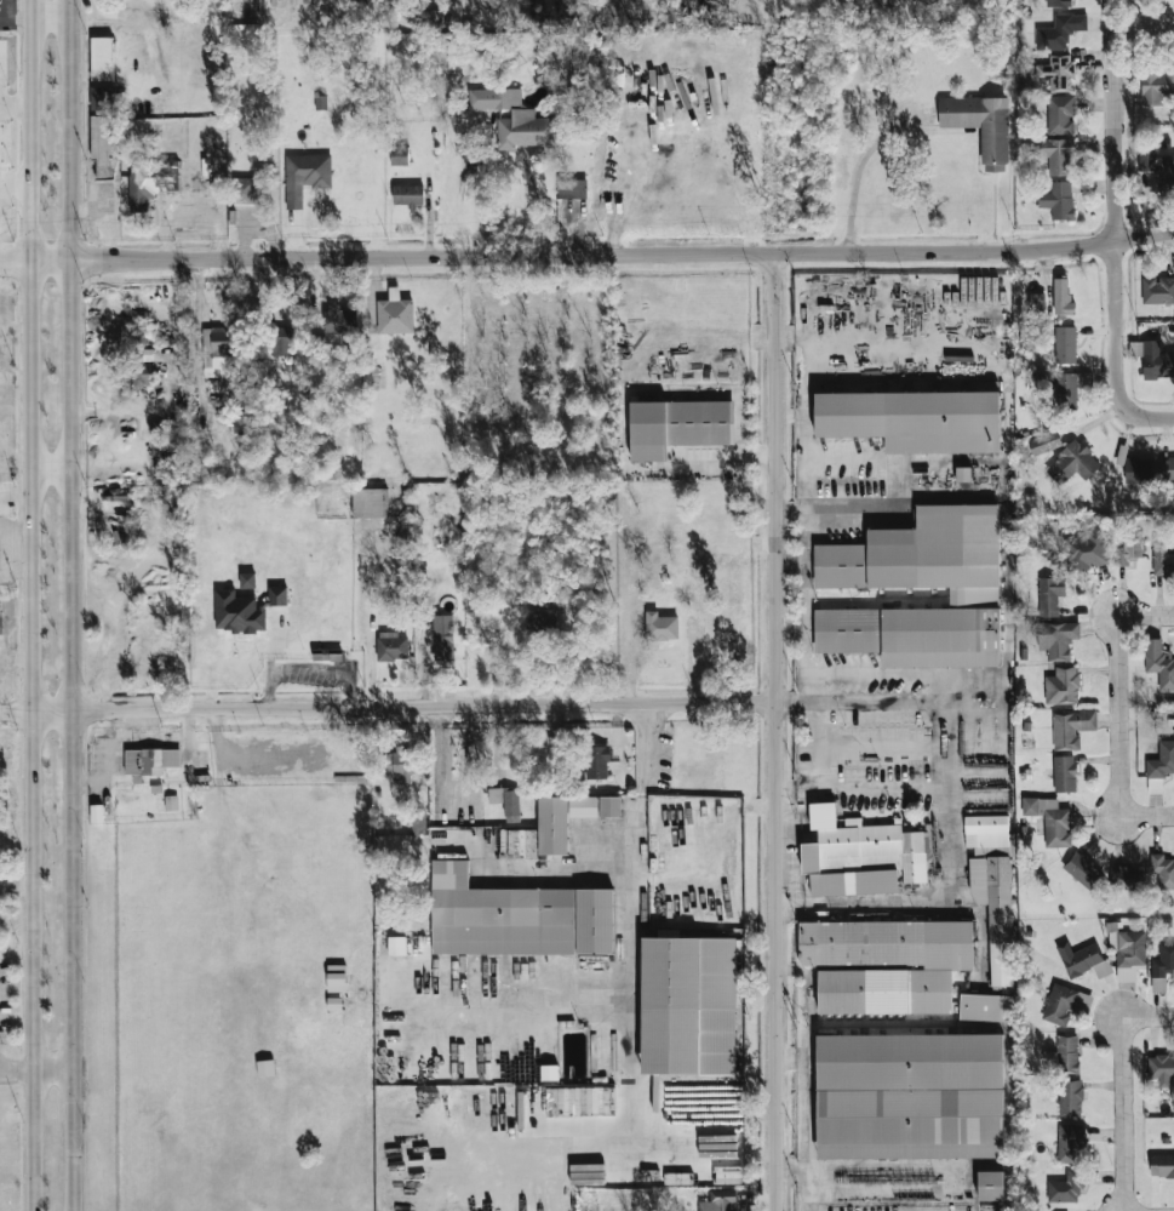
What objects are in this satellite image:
building: (1058, 2)
road: (47, 17)
road: (1144, 28)
building: (1059, 30)
building: (101, 58)
building: (1055, 72)
building: (1156, 86)
building: (1060, 114)
building: (512, 118)
building: (980, 125)
building: (103, 132)
building: (399, 155)
building: (1058, 155)
road: (859, 166)
building: (1158, 168)
building: (305, 176)
building: (139, 184)
building: (571, 188)
building: (244, 190)
road: (486, 190)
building: (407, 195)
building: (1058, 200)
road: (1115, 217)
road: (586, 253)
building: (1157, 290)
building: (1061, 297)
building: (1036, 302)
road: (2, 313)
building: (394, 313)
building: (339, 319)
building: (281, 341)
building: (1064, 344)
building: (218, 352)
building: (1152, 358)
building: (368, 372)
road: (30, 378)
road: (5, 381)
building: (1070, 387)
road: (1163, 416)
building: (912, 419)
building: (678, 425)
building: (1043, 441)
road: (18, 459)
building: (1072, 462)
building: (1167, 468)
building: (1136, 470)
road: (52, 473)
building: (368, 502)
road: (842, 507)
building: (1086, 549)
building: (1128, 549)
building: (1161, 556)
building: (907, 565)
building: (1049, 594)
building: (276, 595)
road: (74, 605)
road: (808, 605)
building: (631, 607)
building: (236, 612)
building: (0, 617)
building: (542, 621)
road: (1122, 623)
building: (659, 627)
building: (442, 636)
building: (1056, 639)
building: (390, 646)
building: (1159, 663)
road: (334, 668)
road: (269, 685)
building: (1061, 686)
road: (389, 708)
building: (1071, 727)
road: (778, 731)
road: (1122, 750)
building: (149, 760)
building: (1161, 760)
building: (596, 761)
building: (400, 762)
building: (1064, 773)
road: (863, 787)
building: (506, 801)
road: (947, 804)
building: (583, 806)
building: (608, 806)
road: (1147, 818)
building: (1050, 819)
building: (417, 822)
building: (552, 826)
building: (986, 830)
building: (860, 856)
building: (1082, 869)
building: (1162, 870)
building: (1126, 878)
building: (995, 912)
building: (516, 918)
building: (396, 946)
building: (1129, 954)
building: (1082, 959)
building: (884, 964)
building: (1162, 965)
road: (34, 983)
road: (626, 992)
building: (1065, 1004)
building: (688, 1006)
building: (985, 1006)
road: (1124, 1019)
road: (17, 1067)
road: (53, 1068)
building: (1161, 1068)
building: (910, 1097)
building: (1070, 1097)
building: (1069, 1142)
road: (1124, 1142)
building: (1162, 1165)
road: (807, 1179)
building: (1066, 1187)
building: (990, 1188)
building: (717, 1201)

